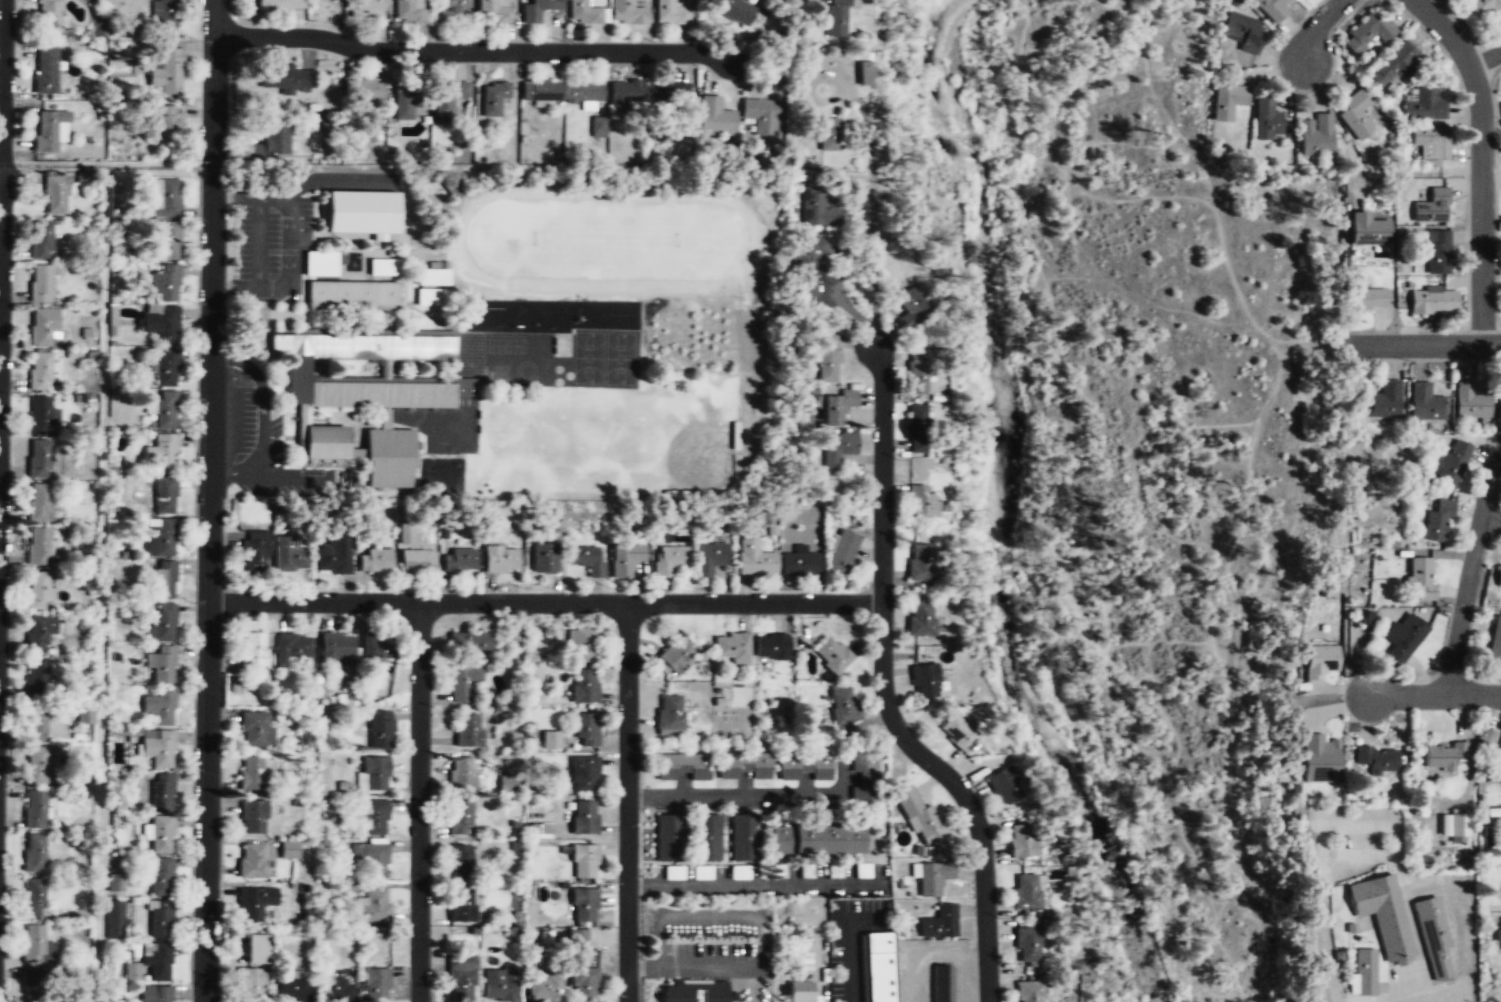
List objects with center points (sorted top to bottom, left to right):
building: (280, 4)
building: (358, 4)
building: (1483, 8)
building: (452, 9)
building: (1270, 9)
building: (536, 10)
building: (731, 10)
building: (409, 11)
building: (493, 11)
building: (585, 12)
building: (671, 12)
building: (626, 13)
building: (163, 14)
building: (47, 16)
building: (836, 18)
road: (1316, 26)
building: (1242, 32)
building: (1367, 32)
street lamp: (197, 40)
road: (473, 50)
road: (1485, 58)
building: (1393, 66)
building: (45, 68)
building: (167, 71)
building: (863, 73)
building: (287, 78)
building: (364, 90)
building: (540, 91)
building: (626, 91)
building: (583, 93)
building: (447, 98)
street lamp: (16, 99)
building: (492, 99)
building: (404, 101)
building: (673, 101)
building: (1226, 101)
building: (1423, 104)
building: (763, 111)
building: (1354, 115)
building: (715, 116)
building: (1266, 122)
building: (168, 126)
building: (597, 126)
building: (47, 130)
building: (830, 135)
building: (1315, 136)
building: (275, 139)
building: (1430, 142)
road: (875, 150)
building: (255, 151)
street lamp: (198, 160)
road: (1480, 160)
road: (105, 166)
road: (2, 187)
building: (55, 194)
building: (162, 198)
building: (1430, 207)
building: (817, 209)
building: (360, 213)
street lamp: (16, 218)
building: (1366, 230)
building: (166, 238)
building: (40, 240)
park: (605, 240)
road: (288, 244)
building: (1436, 254)
building: (810, 262)
building: (319, 264)
building: (384, 268)
building: (432, 278)
building: (41, 283)
building: (164, 284)
building: (352, 297)
building: (432, 298)
building: (1365, 299)
street lamp: (195, 301)
building: (1432, 301)
street lamp: (14, 303)
building: (911, 307)
building: (610, 315)
street lamp: (884, 321)
building: (160, 324)
building: (42, 325)
road: (1428, 342)
building: (361, 348)
building: (828, 358)
park: (587, 359)
park: (619, 359)
building: (165, 368)
building: (39, 371)
building: (918, 372)
building: (380, 396)
building: (1383, 402)
building: (1469, 402)
building: (1425, 403)
building: (838, 406)
building: (1499, 407)
building: (165, 409)
building: (39, 414)
building: (916, 428)
street lamp: (193, 431)
building: (324, 444)
building: (838, 447)
building: (161, 453)
building: (38, 458)
building: (388, 458)
street lamp: (898, 459)
building: (1449, 461)
street lamp: (14, 483)
building: (165, 495)
road: (208, 500)
building: (922, 501)
building: (38, 502)
river: (995, 509)
road: (1491, 516)
building: (1436, 521)
building: (408, 530)
building: (159, 537)
building: (37, 547)
building: (254, 552)
building: (841, 552)
building: (335, 553)
building: (289, 556)
building: (542, 558)
building: (587, 558)
building: (626, 558)
building: (710, 558)
building: (376, 559)
building: (417, 559)
building: (670, 559)
building: (459, 560)
building: (501, 560)
building: (754, 560)
building: (920, 561)
building: (799, 562)
road: (1469, 571)
building: (1420, 577)
building: (1498, 577)
building: (162, 580)
building: (37, 588)
street lamp: (897, 589)
street lamp: (192, 602)
road: (545, 602)
building: (920, 617)
building: (160, 624)
building: (37, 632)
building: (1403, 635)
building: (466, 640)
building: (1494, 641)
building: (581, 645)
building: (732, 646)
building: (375, 647)
building: (771, 647)
building: (337, 648)
building: (289, 649)
building: (252, 651)
building: (675, 654)
building: (830, 654)
building: (1318, 662)
building: (161, 665)
building: (35, 677)
building: (924, 680)
building: (462, 681)
building: (584, 686)
road: (883, 692)
road: (1434, 695)
building: (842, 703)
building: (159, 708)
building: (84, 714)
building: (669, 714)
building: (38, 724)
building: (380, 728)
building: (585, 728)
building: (255, 730)
building: (467, 730)
building: (958, 732)
street lamp: (883, 737)
street lamp: (10, 741)
building: (550, 741)
building: (156, 748)
building: (1499, 749)
building: (1442, 754)
building: (1318, 759)
building: (1376, 759)
building: (35, 764)
building: (743, 764)
building: (682, 765)
building: (864, 765)
building: (804, 766)
street lamp: (190, 771)
building: (375, 771)
building: (461, 771)
building: (583, 772)
building: (250, 774)
building: (506, 783)
building: (1004, 785)
building: (161, 792)
road: (742, 795)
road: (419, 802)
road: (626, 802)
building: (35, 809)
building: (373, 814)
building: (252, 816)
building: (459, 816)
building: (583, 816)
building: (919, 816)
street lamp: (988, 816)
building: (1453, 824)
road: (1352, 825)
building: (160, 835)
building: (668, 836)
building: (707, 836)
building: (742, 838)
building: (816, 840)
building: (1021, 840)
street lamp: (642, 845)
building: (290, 848)
building: (34, 852)
building: (373, 858)
building: (583, 858)
road: (1361, 859)
building: (460, 860)
building: (250, 861)
building: (806, 870)
building: (160, 877)
building: (931, 877)
building: (118, 882)
building: (1025, 892)
building: (34, 896)
building: (253, 902)
building: (583, 902)
building: (375, 904)
building: (460, 904)
building: (1383, 912)
building: (159, 920)
road: (1456, 920)
building: (116, 921)
building: (938, 922)
building: (1433, 935)
building: (1498, 936)
building: (36, 945)
building: (1027, 945)
building: (256, 949)
building: (156, 961)
building: (878, 966)
building: (1365, 971)
building: (131, 972)
building: (460, 975)
building: (375, 982)
building: (583, 982)
building: (249, 983)
building: (499, 983)
building: (941, 983)
building: (33, 985)
building: (545, 987)
building: (291, 988)
building: (335, 988)
building: (798, 991)
building: (1029, 991)
building: (152, 994)
building: (691, 994)
street lamp: (612, 995)
road: (1446, 997)
road: (1417, 1000)

